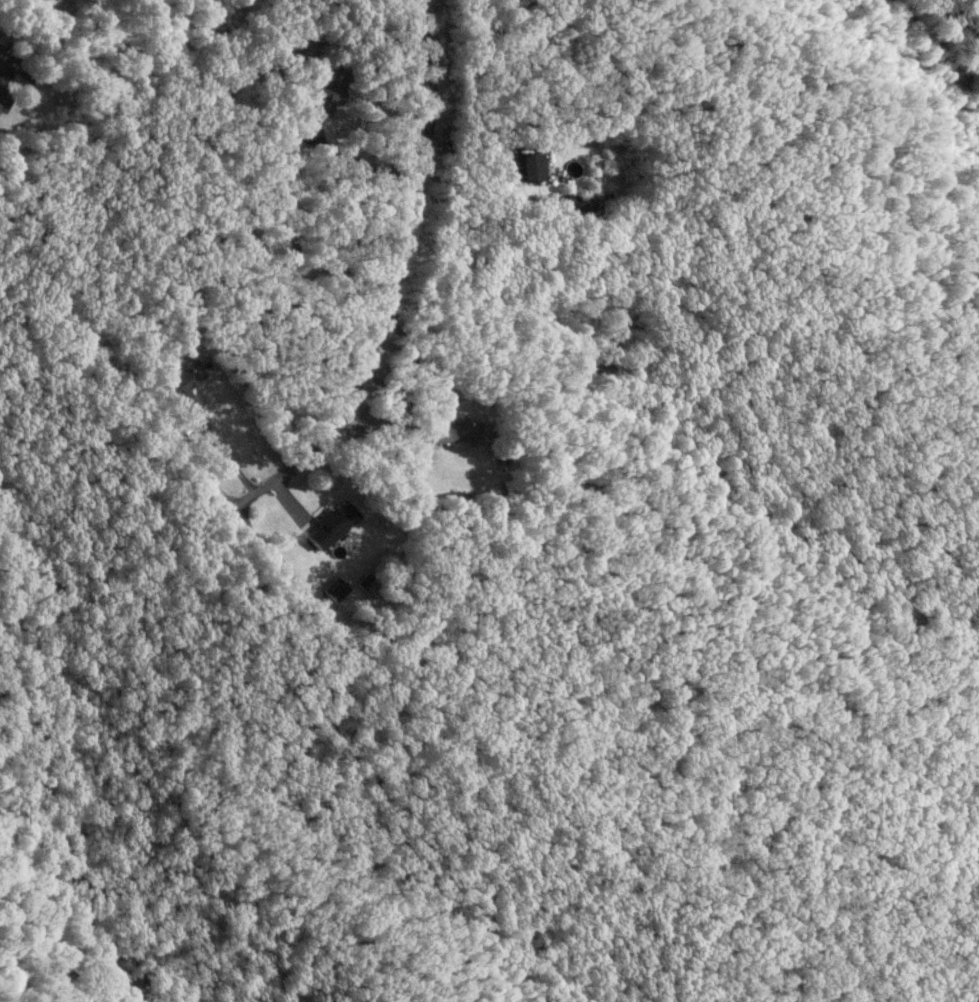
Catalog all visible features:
building: (4, 84)
building: (328, 90)
building: (530, 167)
building: (276, 247)
road: (382, 275)
building: (187, 376)
building: (458, 431)
building: (333, 525)

